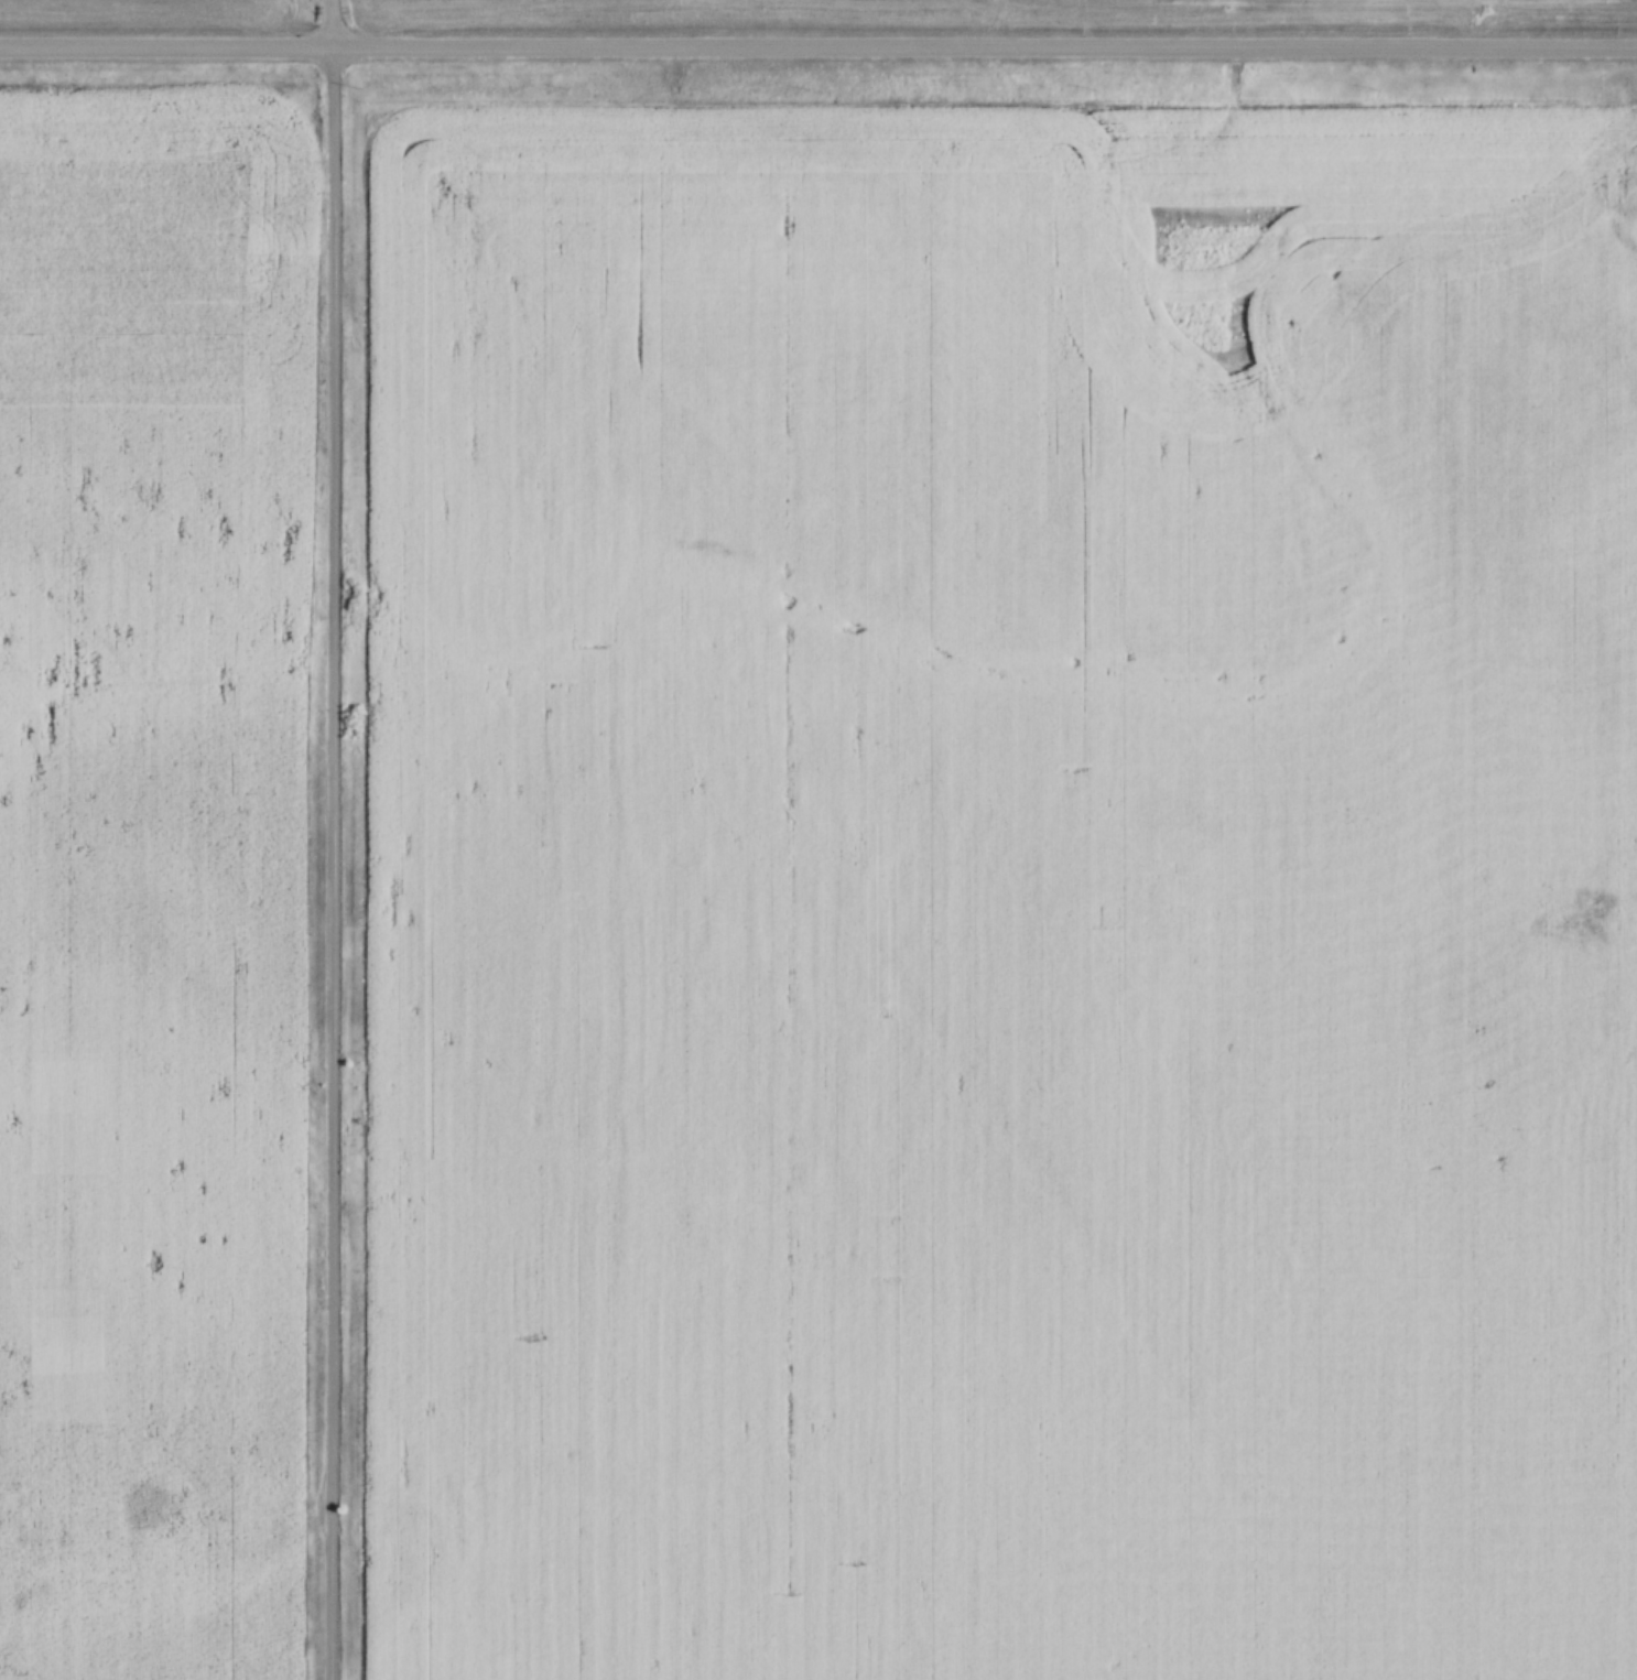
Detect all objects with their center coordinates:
road: (333, 23)
road: (817, 46)
road: (332, 863)
crop: (153, 874)

